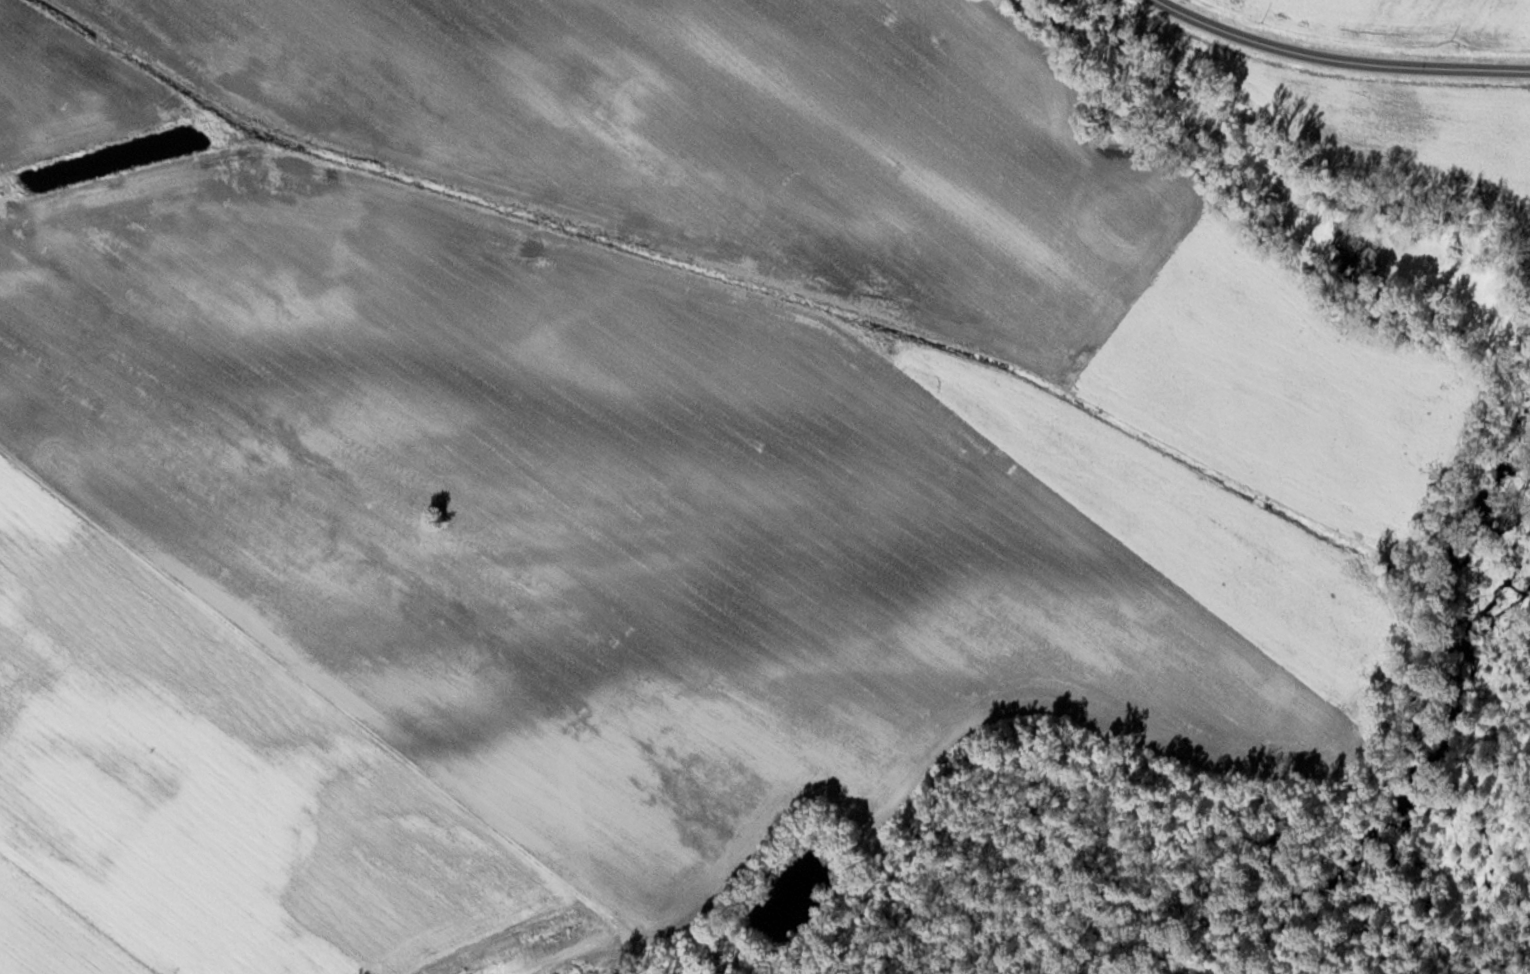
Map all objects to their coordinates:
road: (1339, 58)
building: (723, 959)

